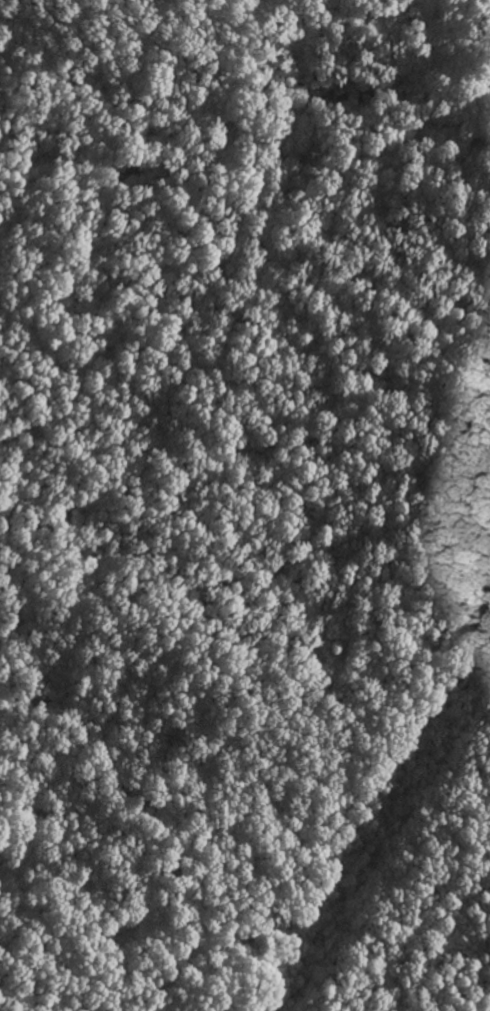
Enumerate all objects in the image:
road: (163, 285)
road: (16, 746)

